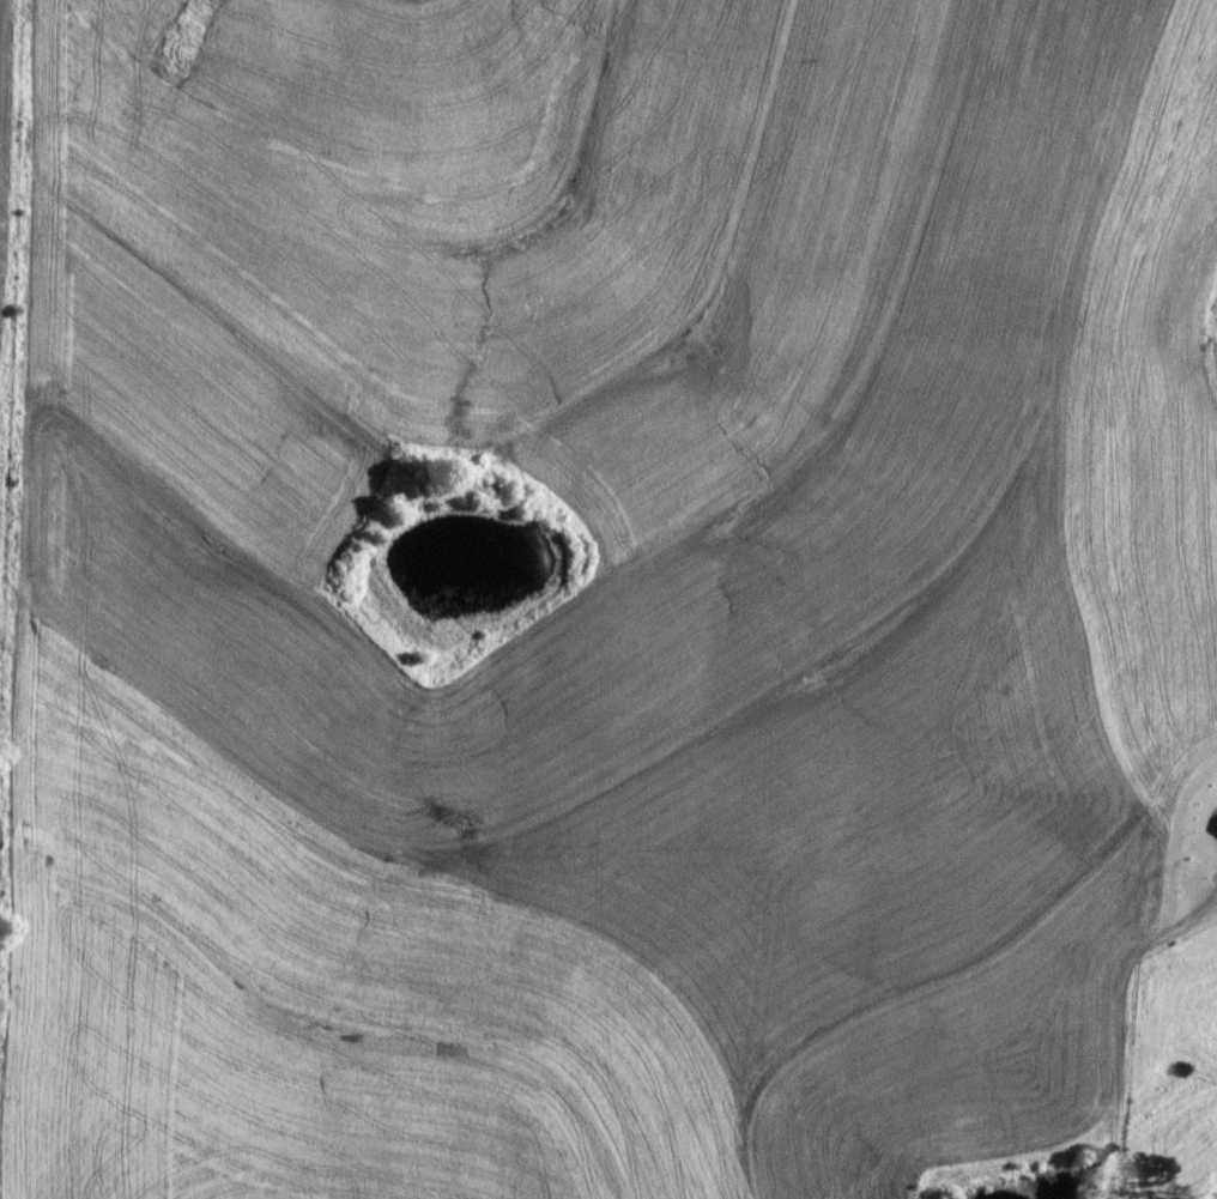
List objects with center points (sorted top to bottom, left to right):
road: (1113, 1022)

